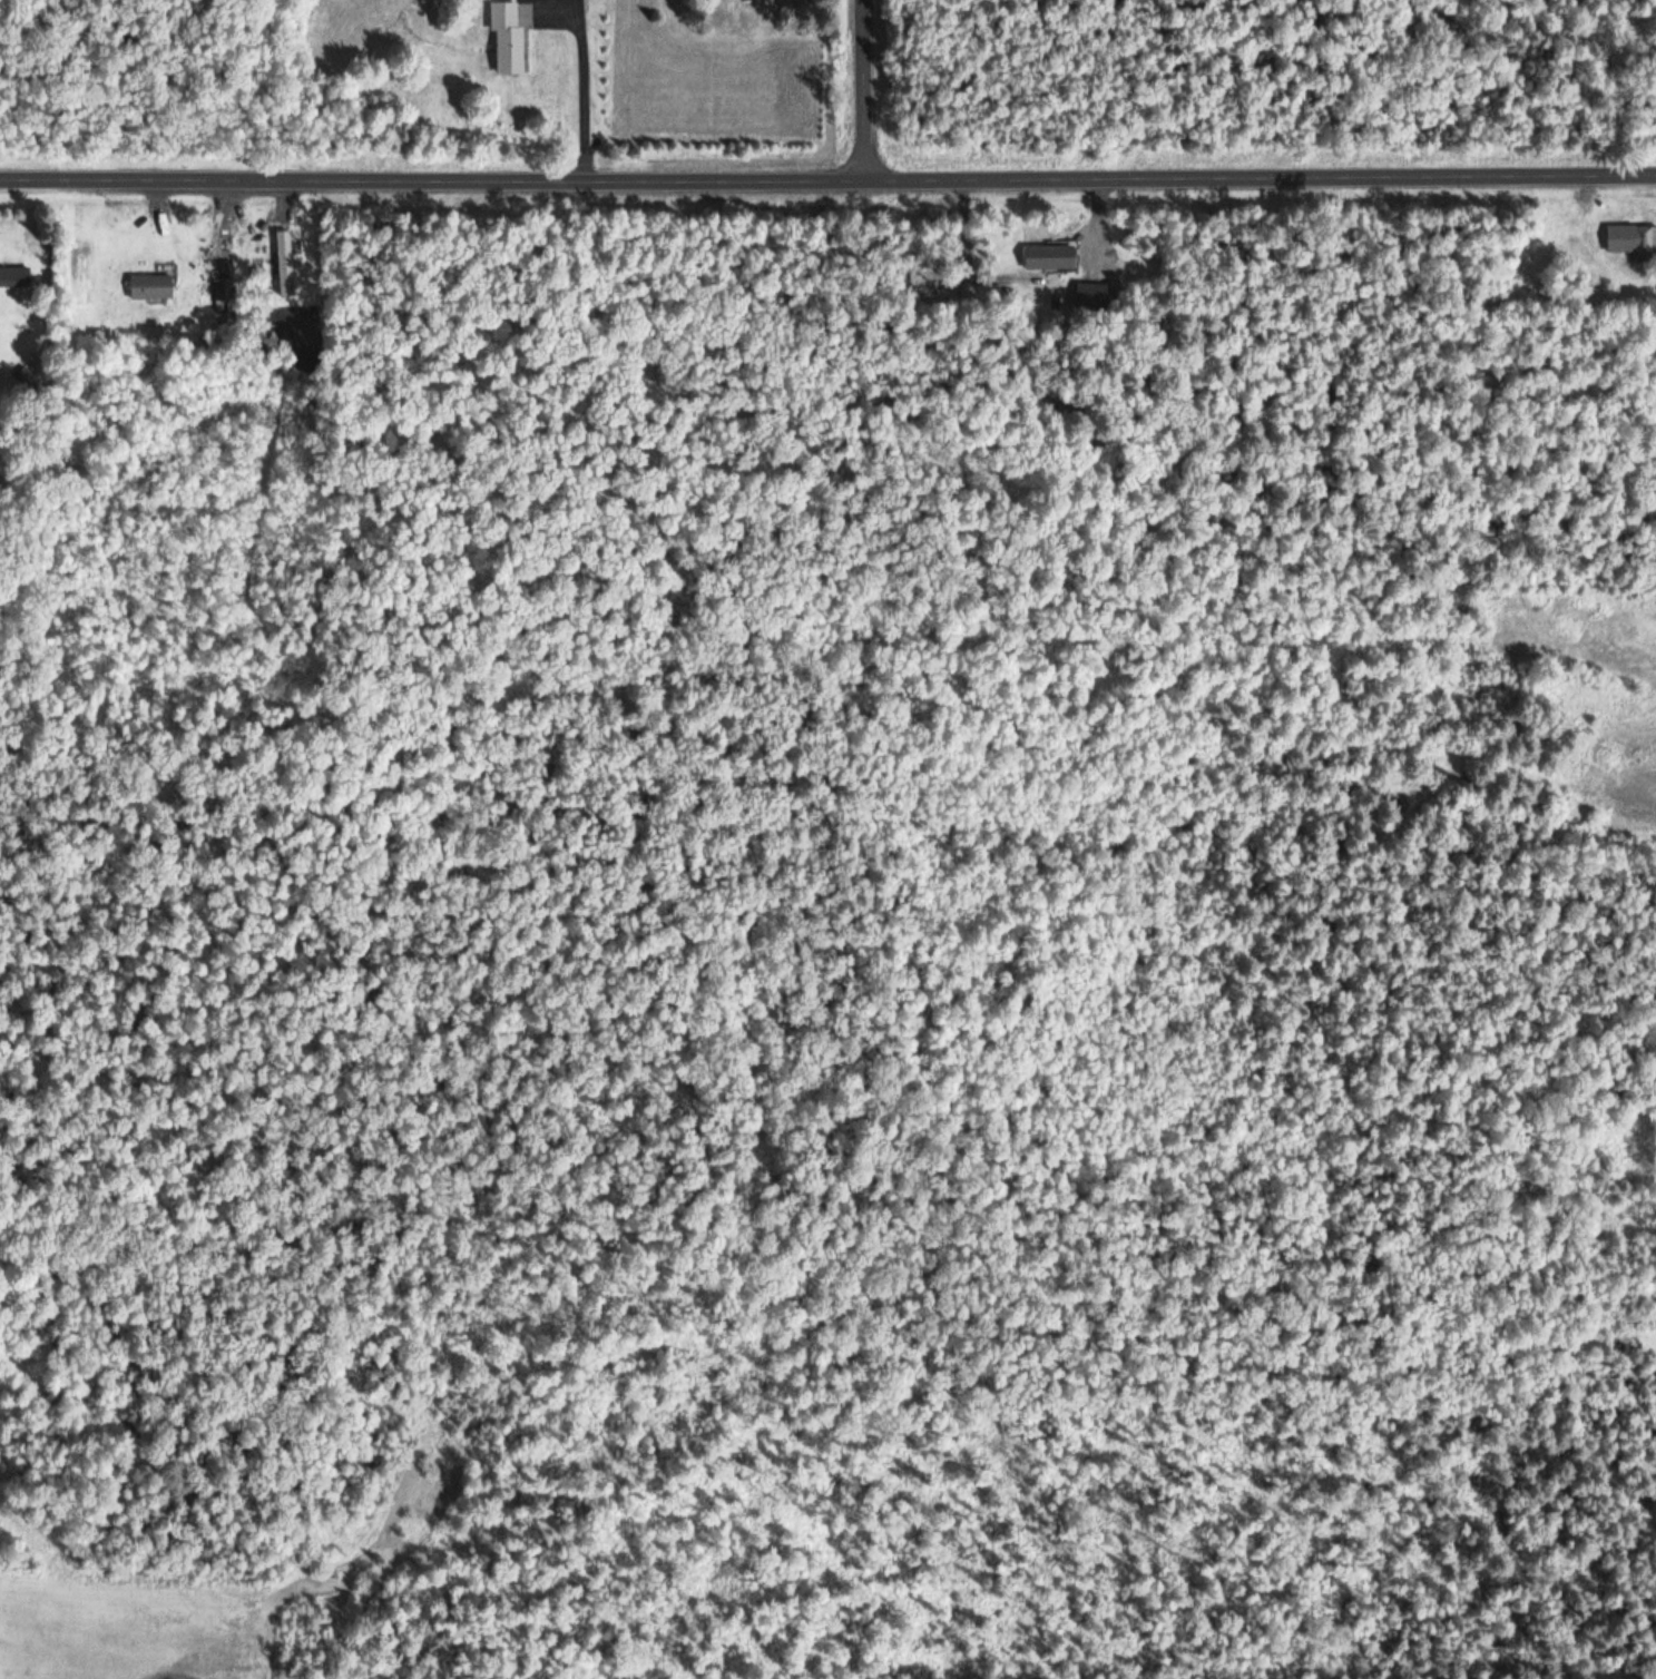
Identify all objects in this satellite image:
building: (509, 38)
road: (579, 85)
road: (874, 85)
road: (827, 170)
building: (1631, 239)
building: (1050, 257)
building: (286, 264)
building: (16, 277)
building: (153, 286)
building: (226, 295)
building: (1096, 295)
road: (497, 685)

